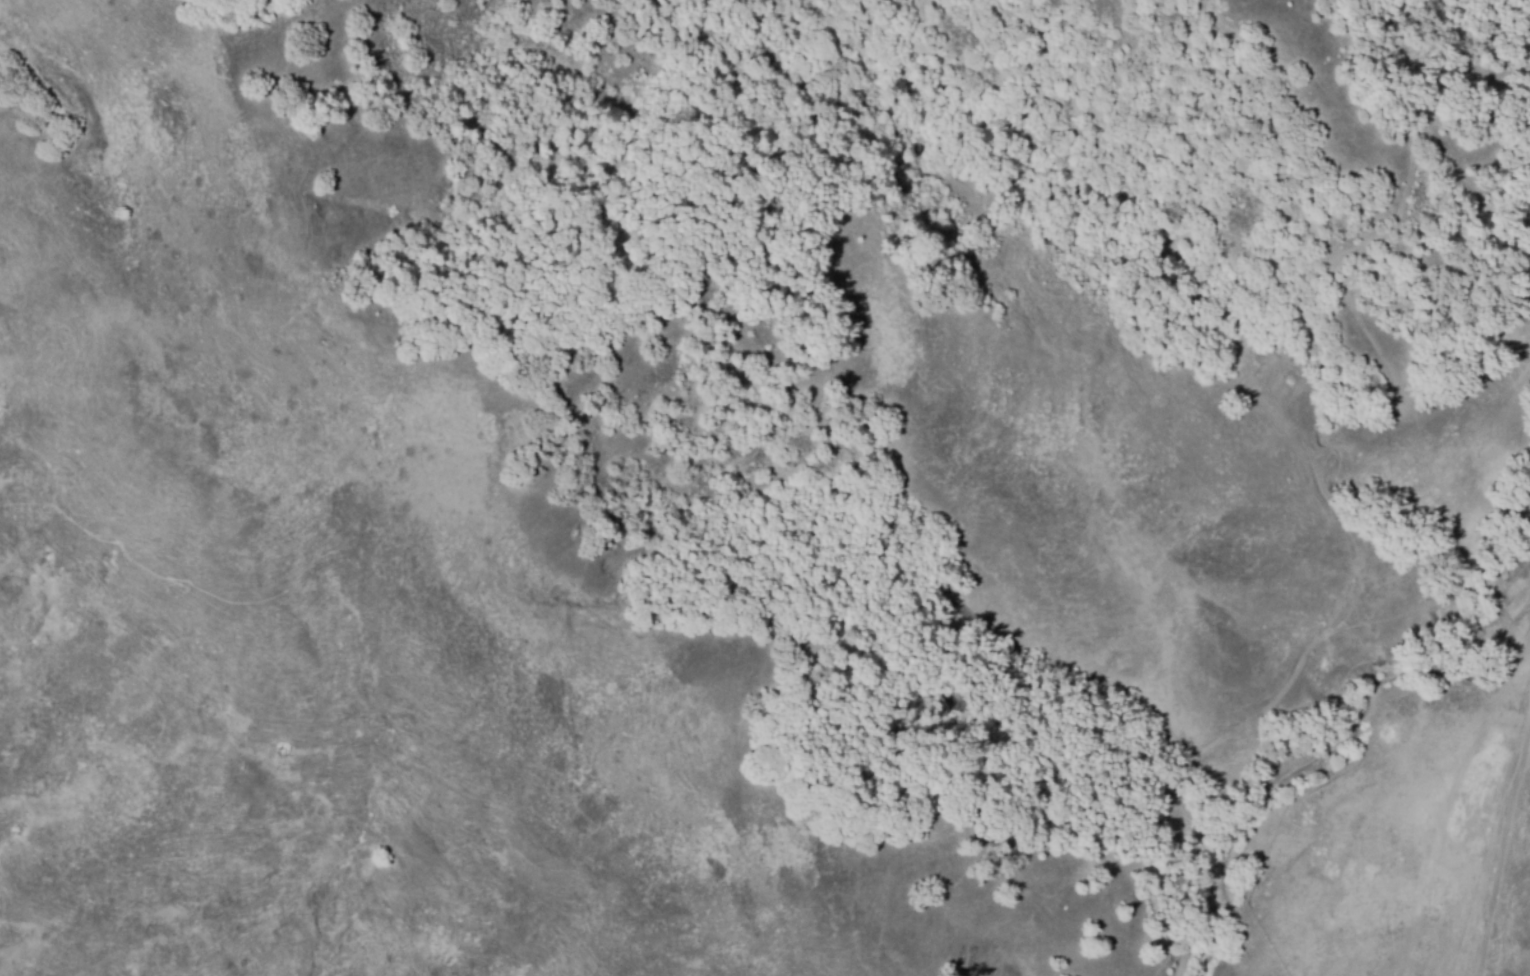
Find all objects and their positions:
road: (1483, 818)

